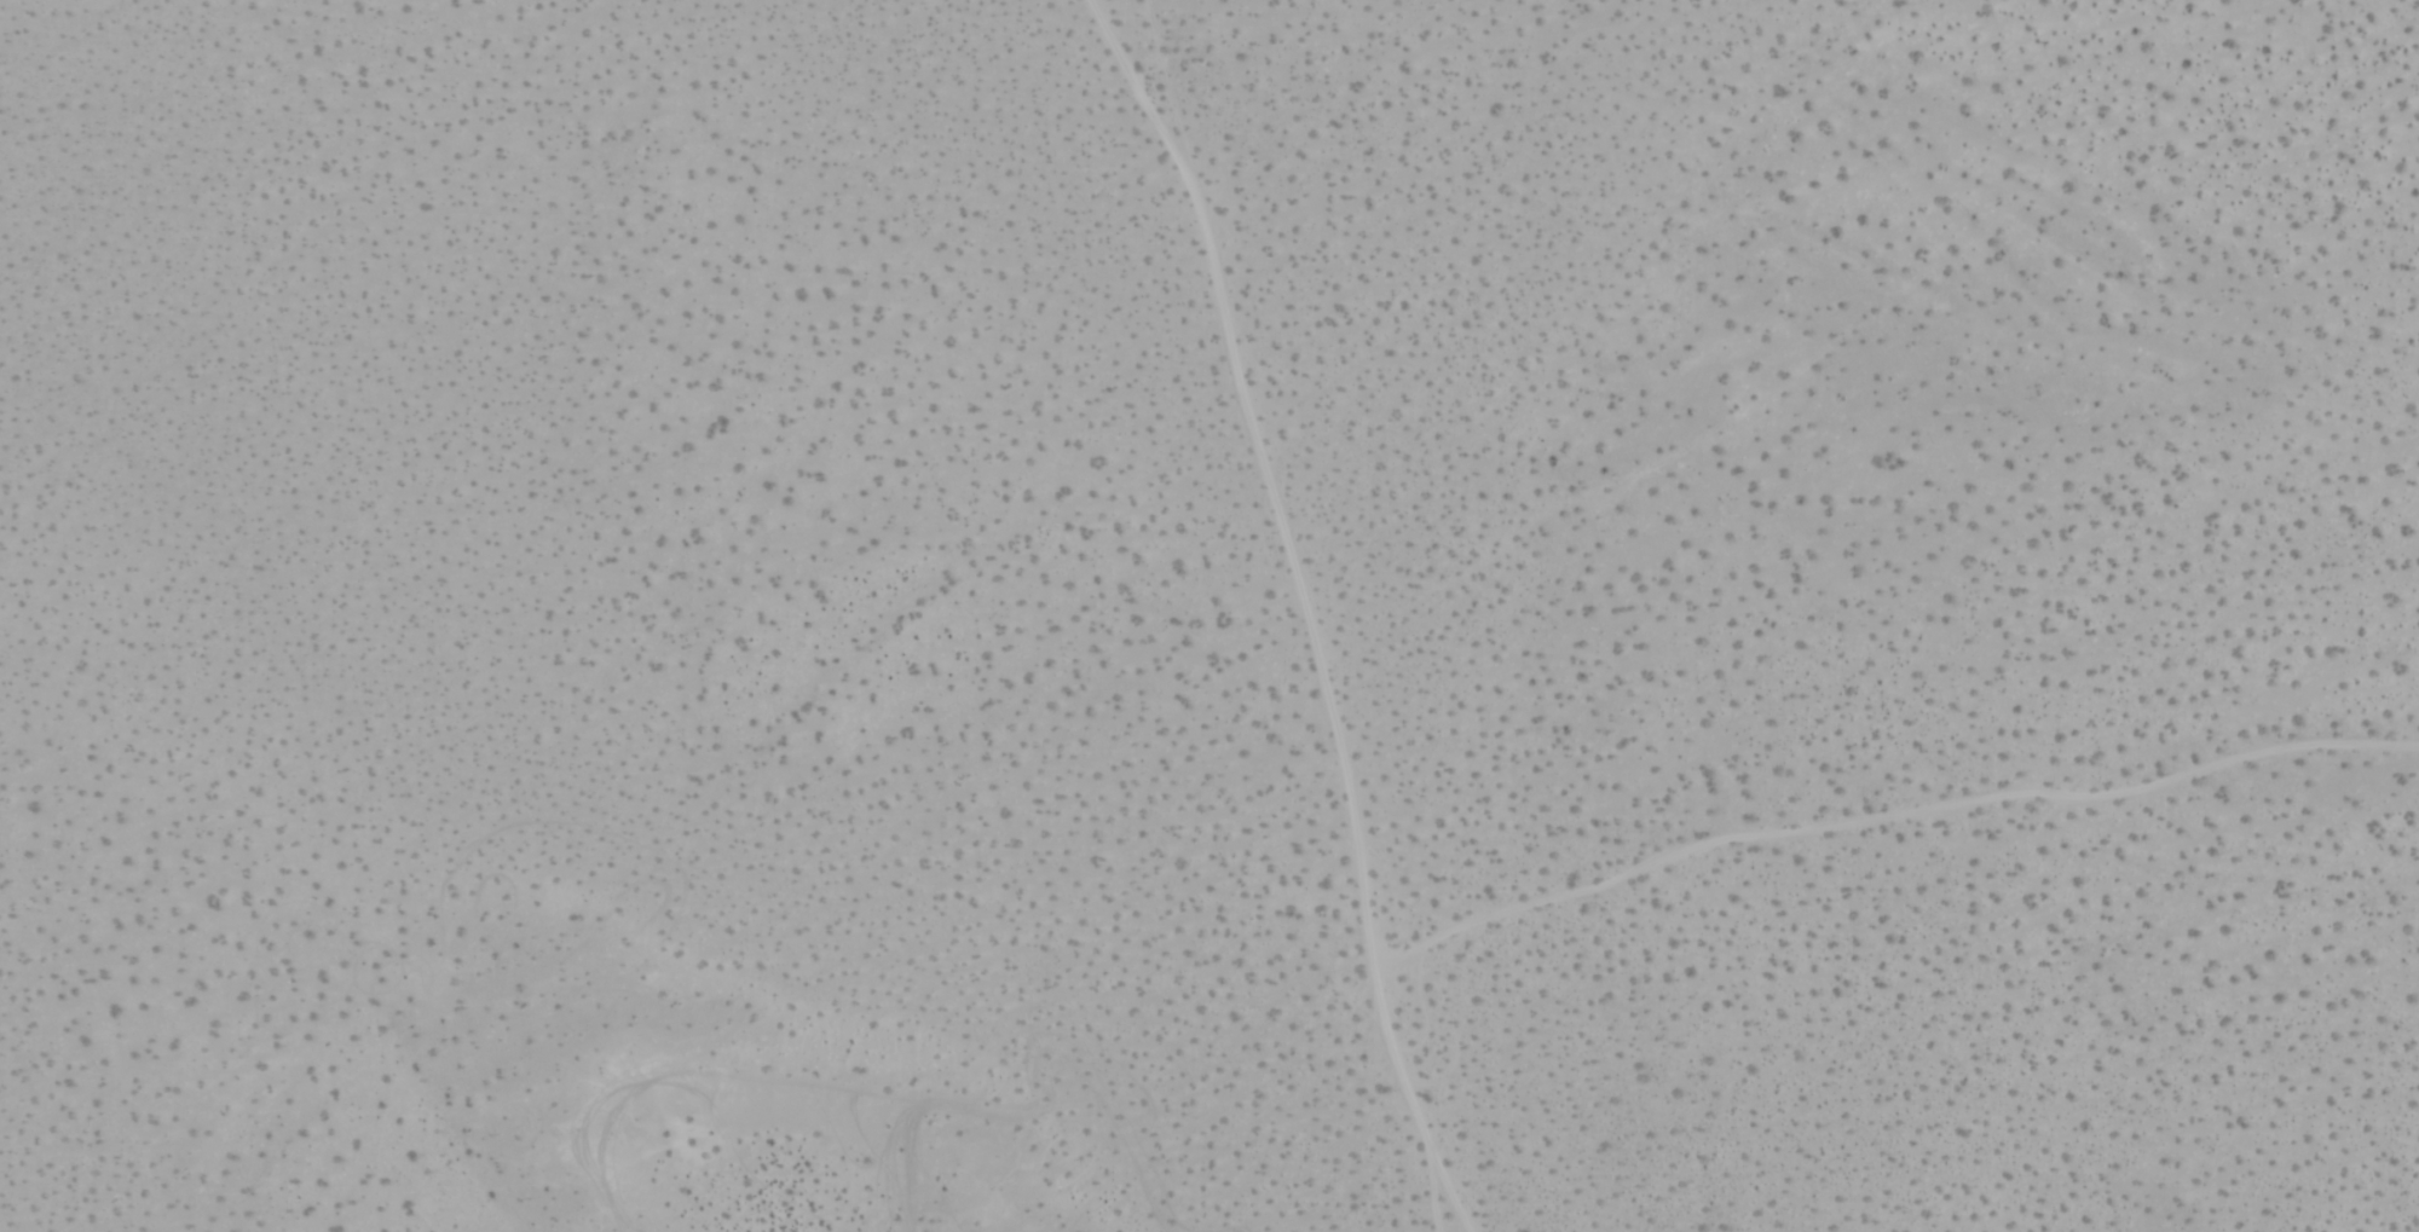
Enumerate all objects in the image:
road: (1287, 611)

